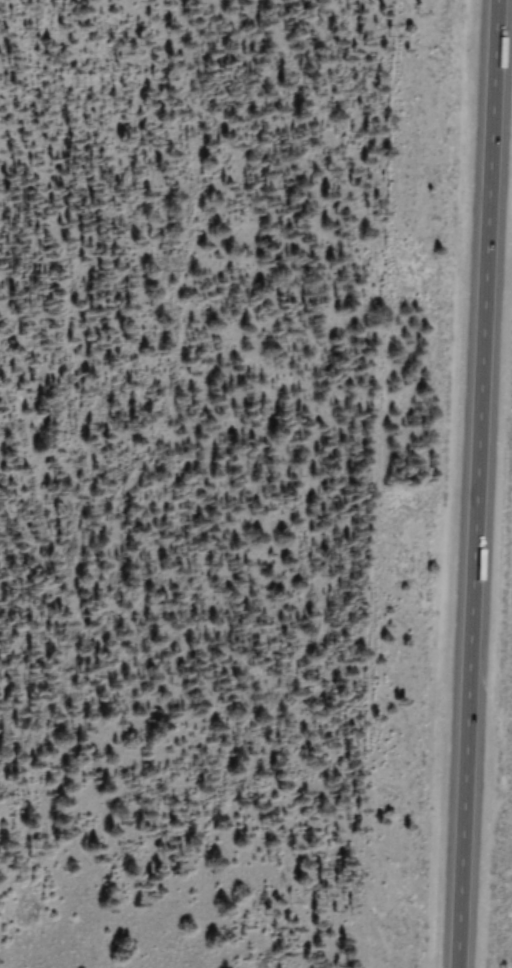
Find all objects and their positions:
road: (474, 484)

